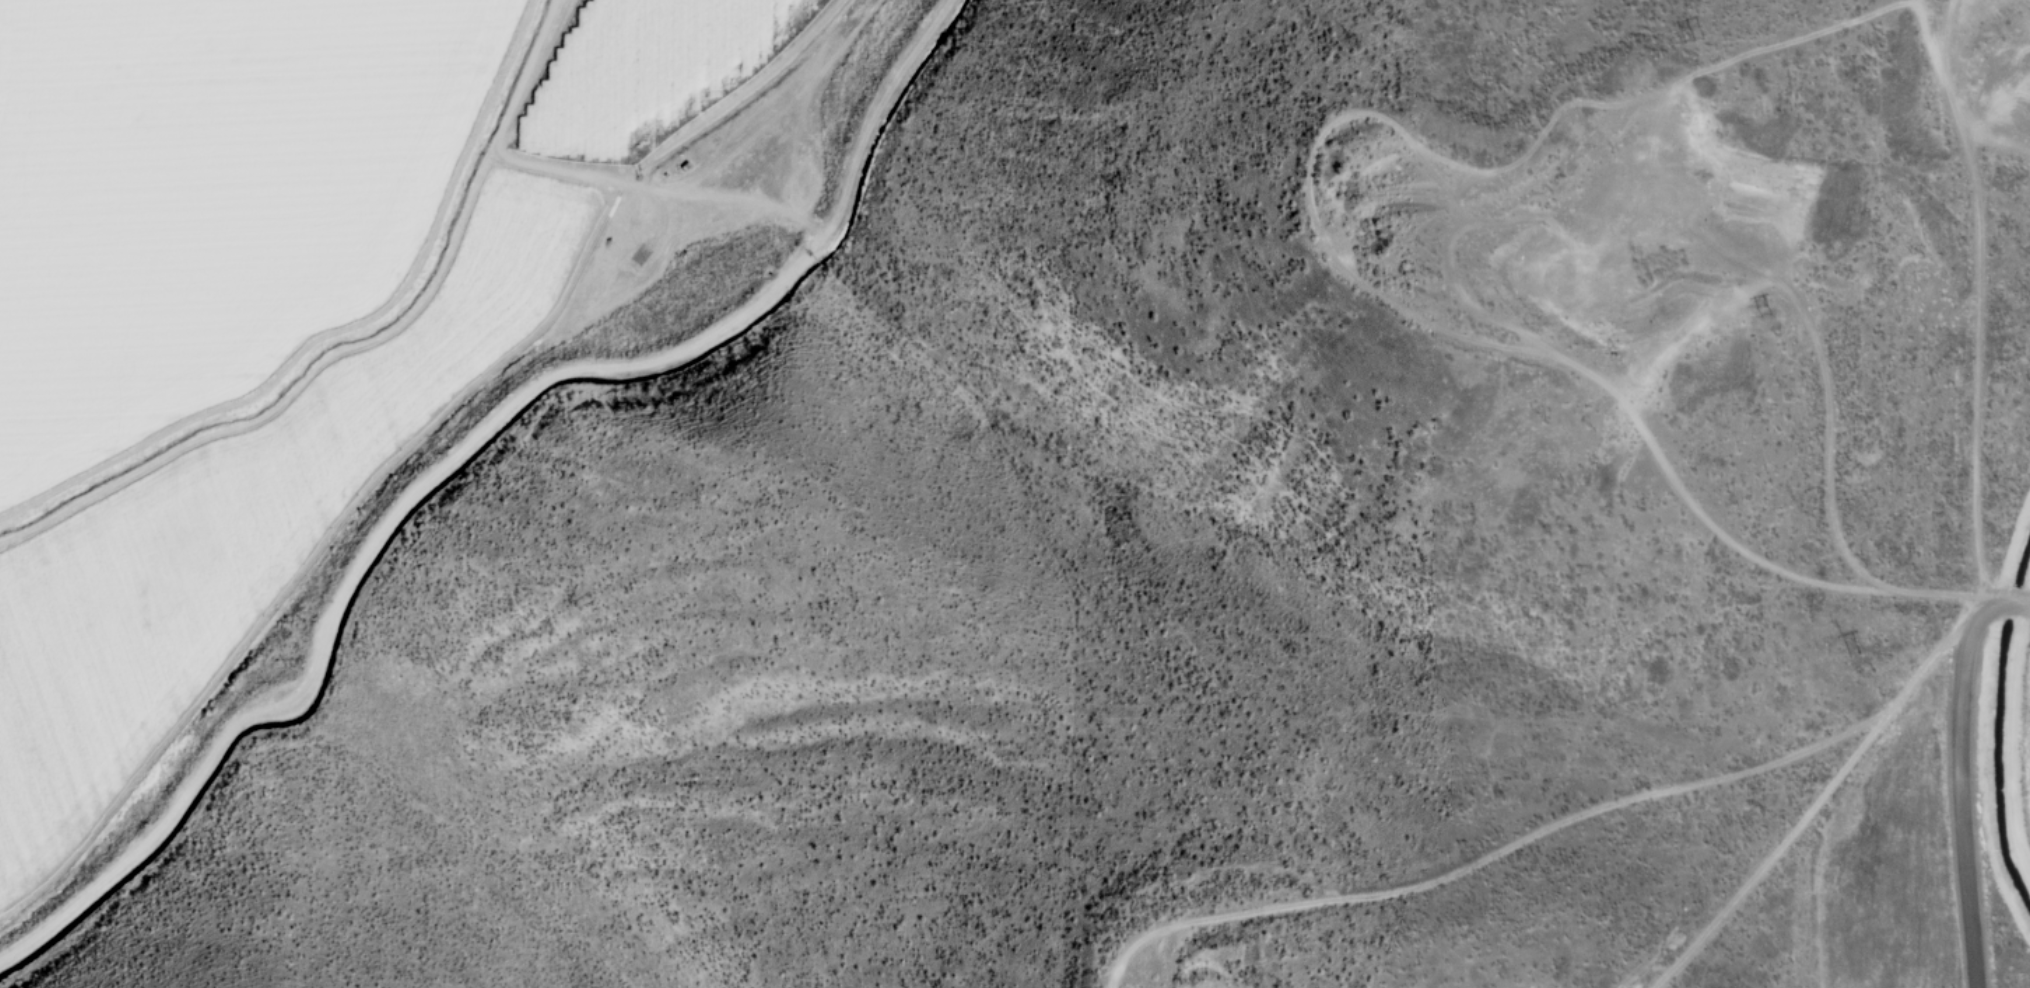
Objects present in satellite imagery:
power tower: (1691, 39)
power tower: (1771, 313)
road: (2011, 599)
power tower: (1860, 656)
road: (1966, 789)

